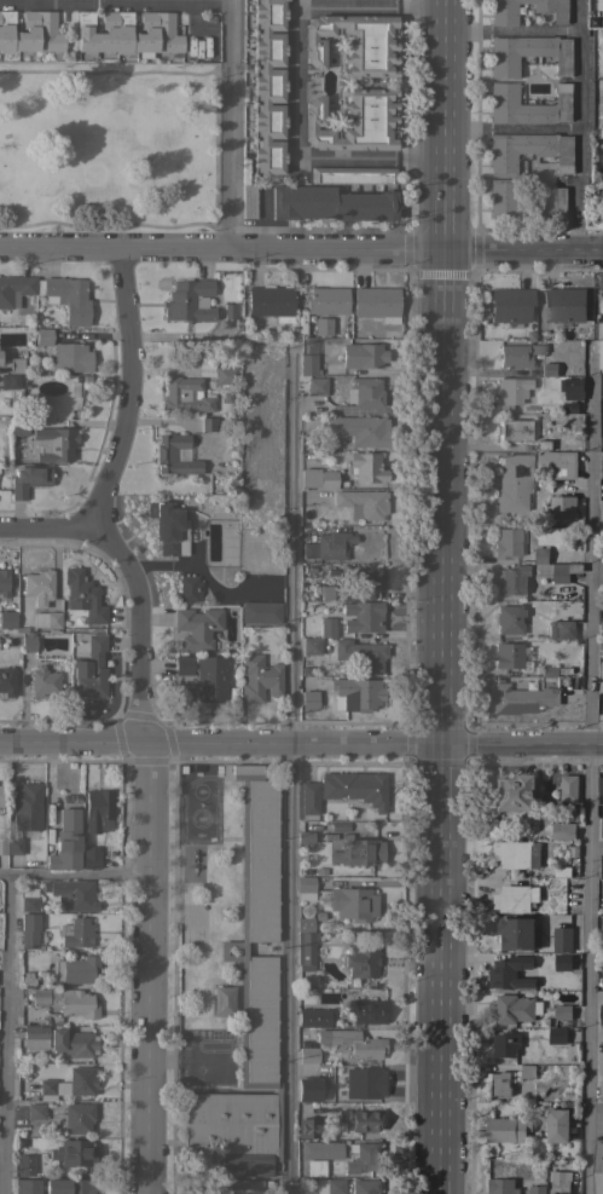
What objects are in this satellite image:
building: (504, 17)
road: (510, 30)
building: (30, 31)
building: (127, 33)
building: (353, 42)
building: (528, 53)
road: (294, 58)
road: (185, 73)
building: (268, 87)
building: (528, 105)
building: (353, 121)
road: (224, 125)
road: (579, 125)
road: (510, 129)
park: (108, 145)
building: (529, 151)
road: (417, 158)
building: (353, 175)
building: (501, 197)
building: (249, 200)
building: (330, 203)
building: (550, 204)
road: (111, 224)
road: (220, 249)
road: (522, 249)
building: (601, 281)
building: (15, 288)
building: (68, 298)
building: (327, 300)
building: (190, 301)
building: (271, 301)
building: (377, 304)
building: (510, 305)
building: (564, 305)
building: (323, 325)
building: (44, 336)
building: (363, 354)
building: (517, 354)
building: (601, 354)
building: (70, 357)
building: (308, 364)
building: (207, 368)
building: (549, 369)
building: (227, 375)
building: (10, 381)
building: (317, 386)
building: (573, 390)
building: (365, 392)
building: (511, 392)
building: (184, 396)
building: (210, 423)
building: (359, 429)
building: (514, 429)
building: (47, 440)
building: (174, 455)
building: (558, 463)
building: (366, 467)
building: (602, 467)
building: (319, 478)
building: (28, 480)
building: (514, 481)
road: (95, 503)
building: (363, 503)
building: (561, 507)
building: (167, 526)
road: (44, 527)
building: (506, 542)
building: (329, 546)
building: (540, 555)
building: (556, 571)
building: (367, 579)
building: (511, 579)
building: (4, 583)
building: (40, 586)
building: (190, 588)
building: (326, 592)
building: (83, 595)
road: (441, 596)
building: (261, 612)
building: (363, 616)
building: (8, 619)
building: (47, 619)
building: (510, 619)
building: (197, 627)
building: (327, 627)
building: (561, 629)
building: (28, 641)
building: (311, 646)
building: (361, 654)
building: (508, 656)
building: (182, 665)
building: (91, 669)
building: (601, 670)
building: (259, 677)
building: (211, 679)
building: (7, 681)
building: (44, 681)
building: (356, 693)
building: (309, 699)
building: (521, 699)
road: (220, 743)
traffic signals: (441, 744)
road: (521, 745)
road: (288, 769)
road: (586, 771)
building: (599, 785)
building: (355, 788)
building: (568, 789)
building: (512, 792)
building: (0, 795)
building: (309, 798)
building: (27, 806)
building: (97, 808)
building: (602, 826)
building: (562, 832)
building: (305, 837)
building: (66, 841)
building: (2, 844)
building: (15, 846)
building: (599, 847)
building: (359, 853)
building: (516, 854)
building: (91, 856)
road: (74, 875)
building: (305, 888)
building: (602, 889)
building: (73, 894)
building: (28, 899)
building: (511, 899)
building: (353, 902)
building: (29, 930)
building: (76, 931)
building: (516, 934)
building: (562, 940)
building: (306, 944)
building: (361, 961)
building: (562, 963)
road: (147, 968)
building: (76, 969)
building: (509, 974)
building: (66, 1000)
building: (249, 1002)
building: (515, 1009)
building: (366, 1010)
building: (562, 1013)
building: (601, 1015)
building: (313, 1017)
road: (5, 1034)
road: (595, 1034)
building: (556, 1036)
building: (34, 1037)
building: (353, 1042)
building: (73, 1043)
building: (505, 1044)
building: (307, 1055)
building: (601, 1065)
building: (527, 1072)
building: (81, 1080)
building: (363, 1081)
building: (498, 1084)
building: (47, 1086)
building: (308, 1089)
building: (601, 1091)
building: (35, 1111)
building: (75, 1118)
building: (361, 1119)
road: (595, 1121)
building: (557, 1125)
building: (308, 1127)
building: (506, 1130)
building: (321, 1149)
building: (74, 1153)
building: (364, 1156)
building: (21, 1166)
building: (598, 1169)
building: (559, 1182)
building: (245, 1183)
building: (28, 1186)
building: (329, 1186)
building: (365, 1186)
building: (69, 1187)
building: (500, 1187)
building: (537, 1189)

